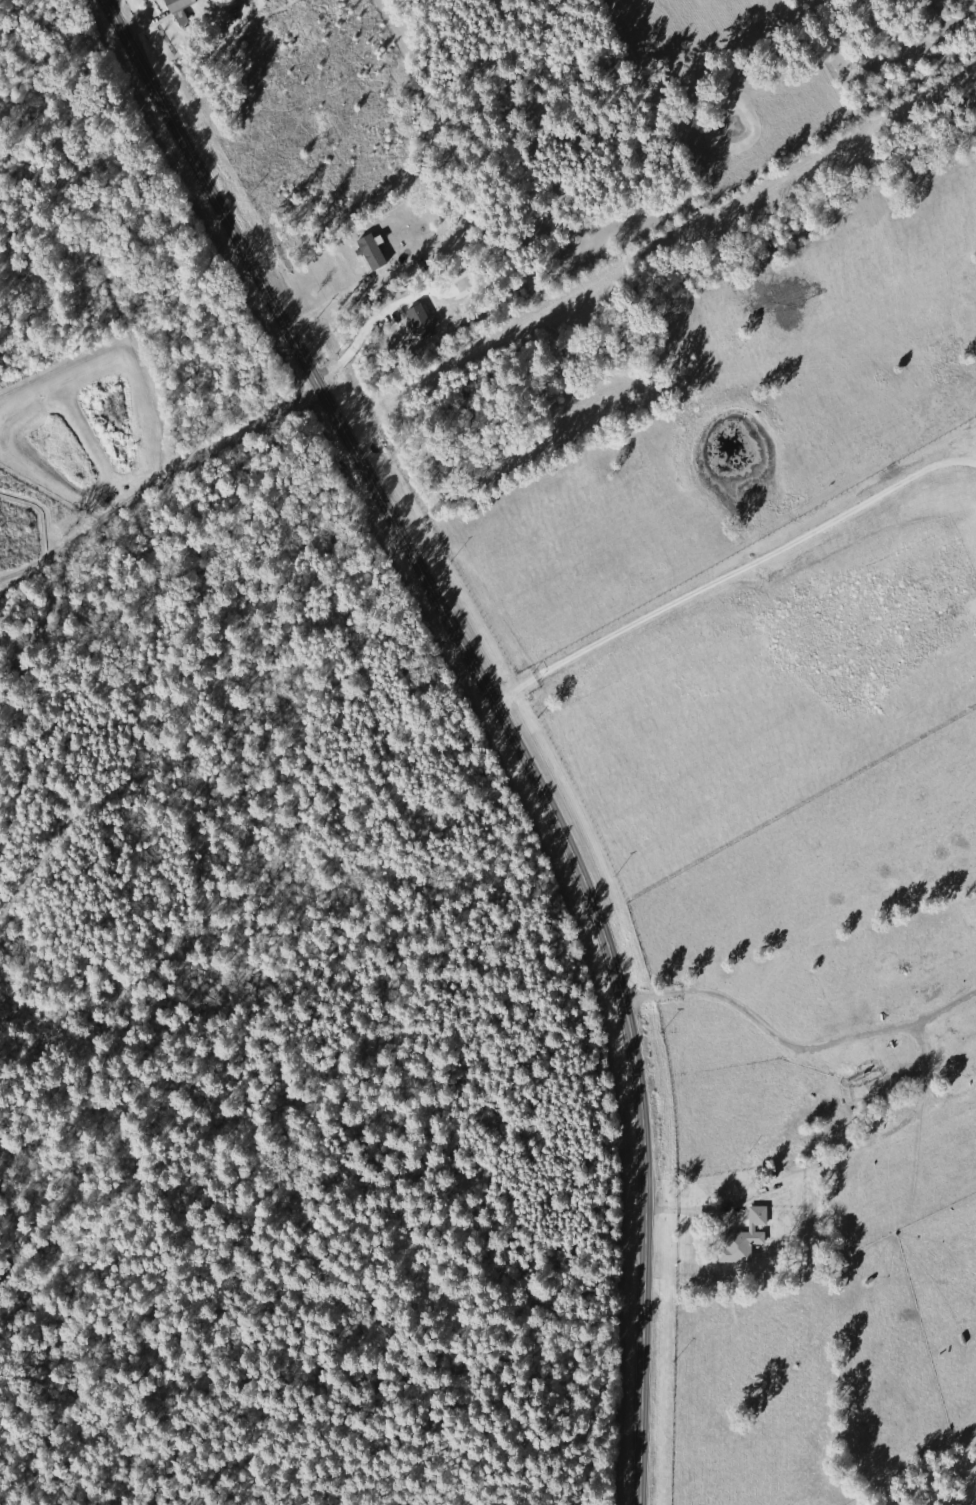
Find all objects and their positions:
building: (182, 4)
building: (374, 251)
building: (425, 322)
road: (46, 698)
road: (498, 717)
park: (254, 914)
building: (747, 1237)
road: (46, 1348)

